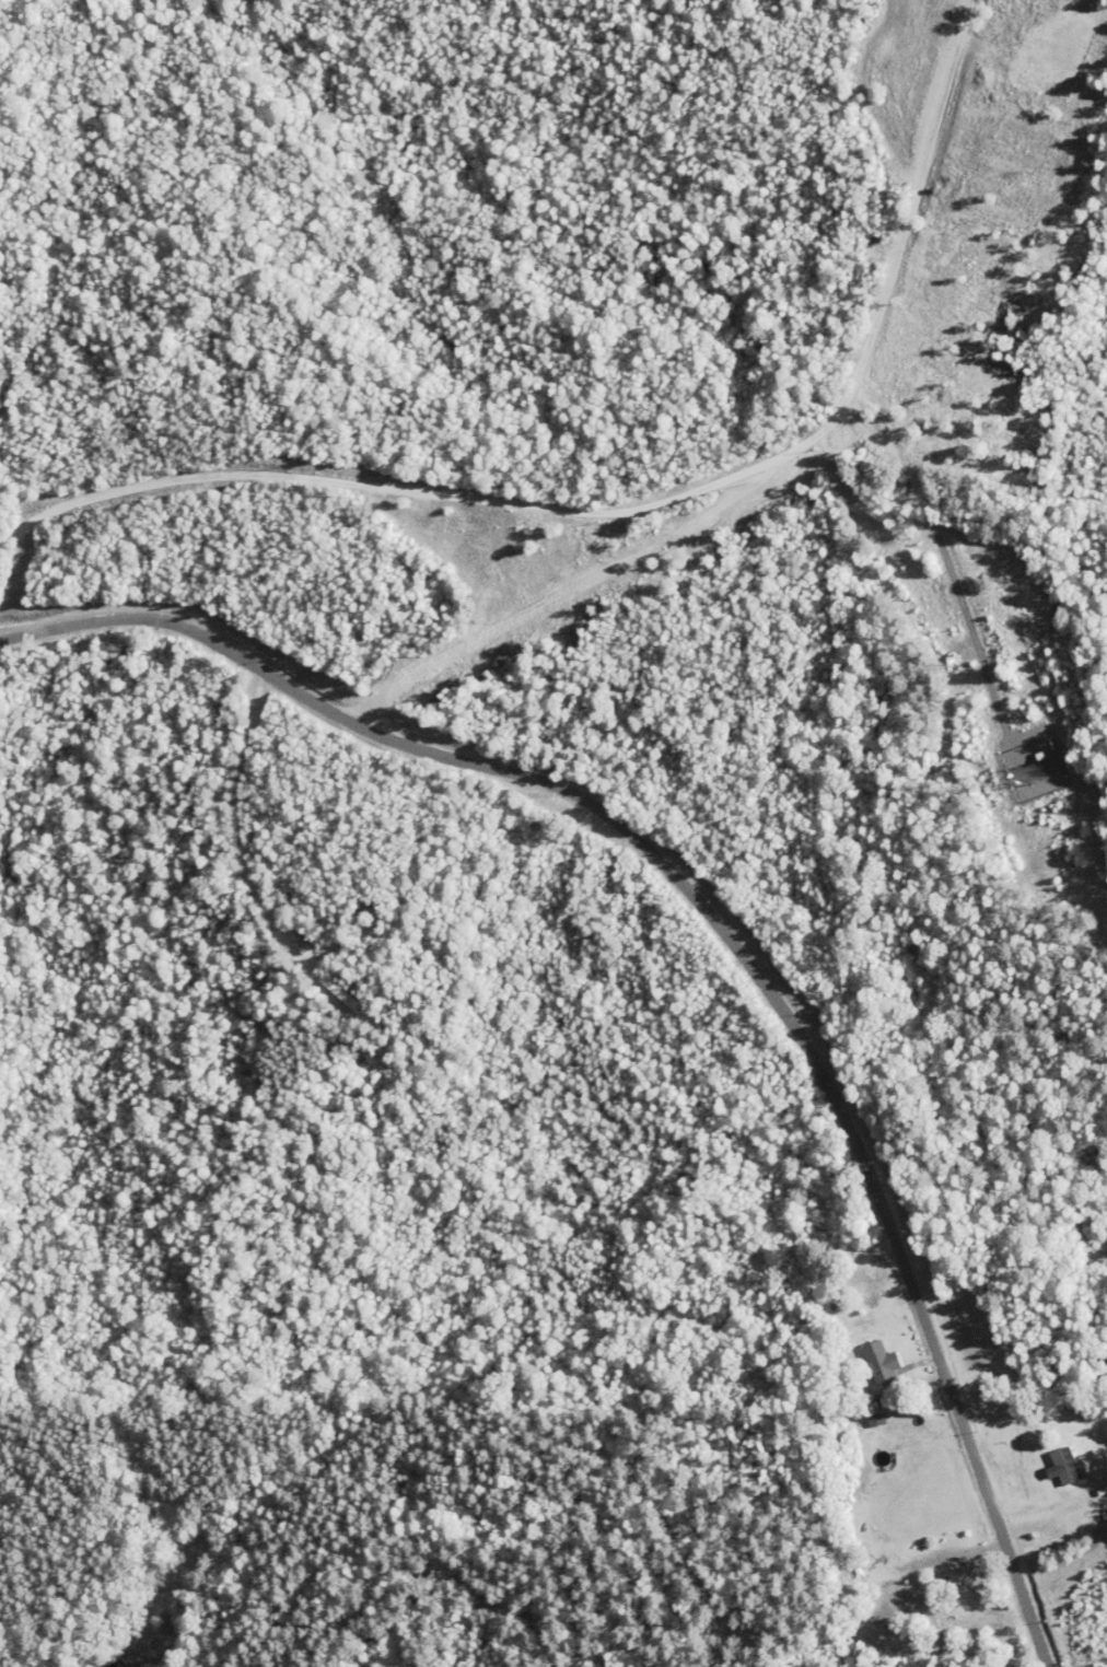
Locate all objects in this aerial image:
road: (643, 485)
road: (744, 932)
building: (879, 1362)
building: (1064, 1466)
building: (959, 1594)

